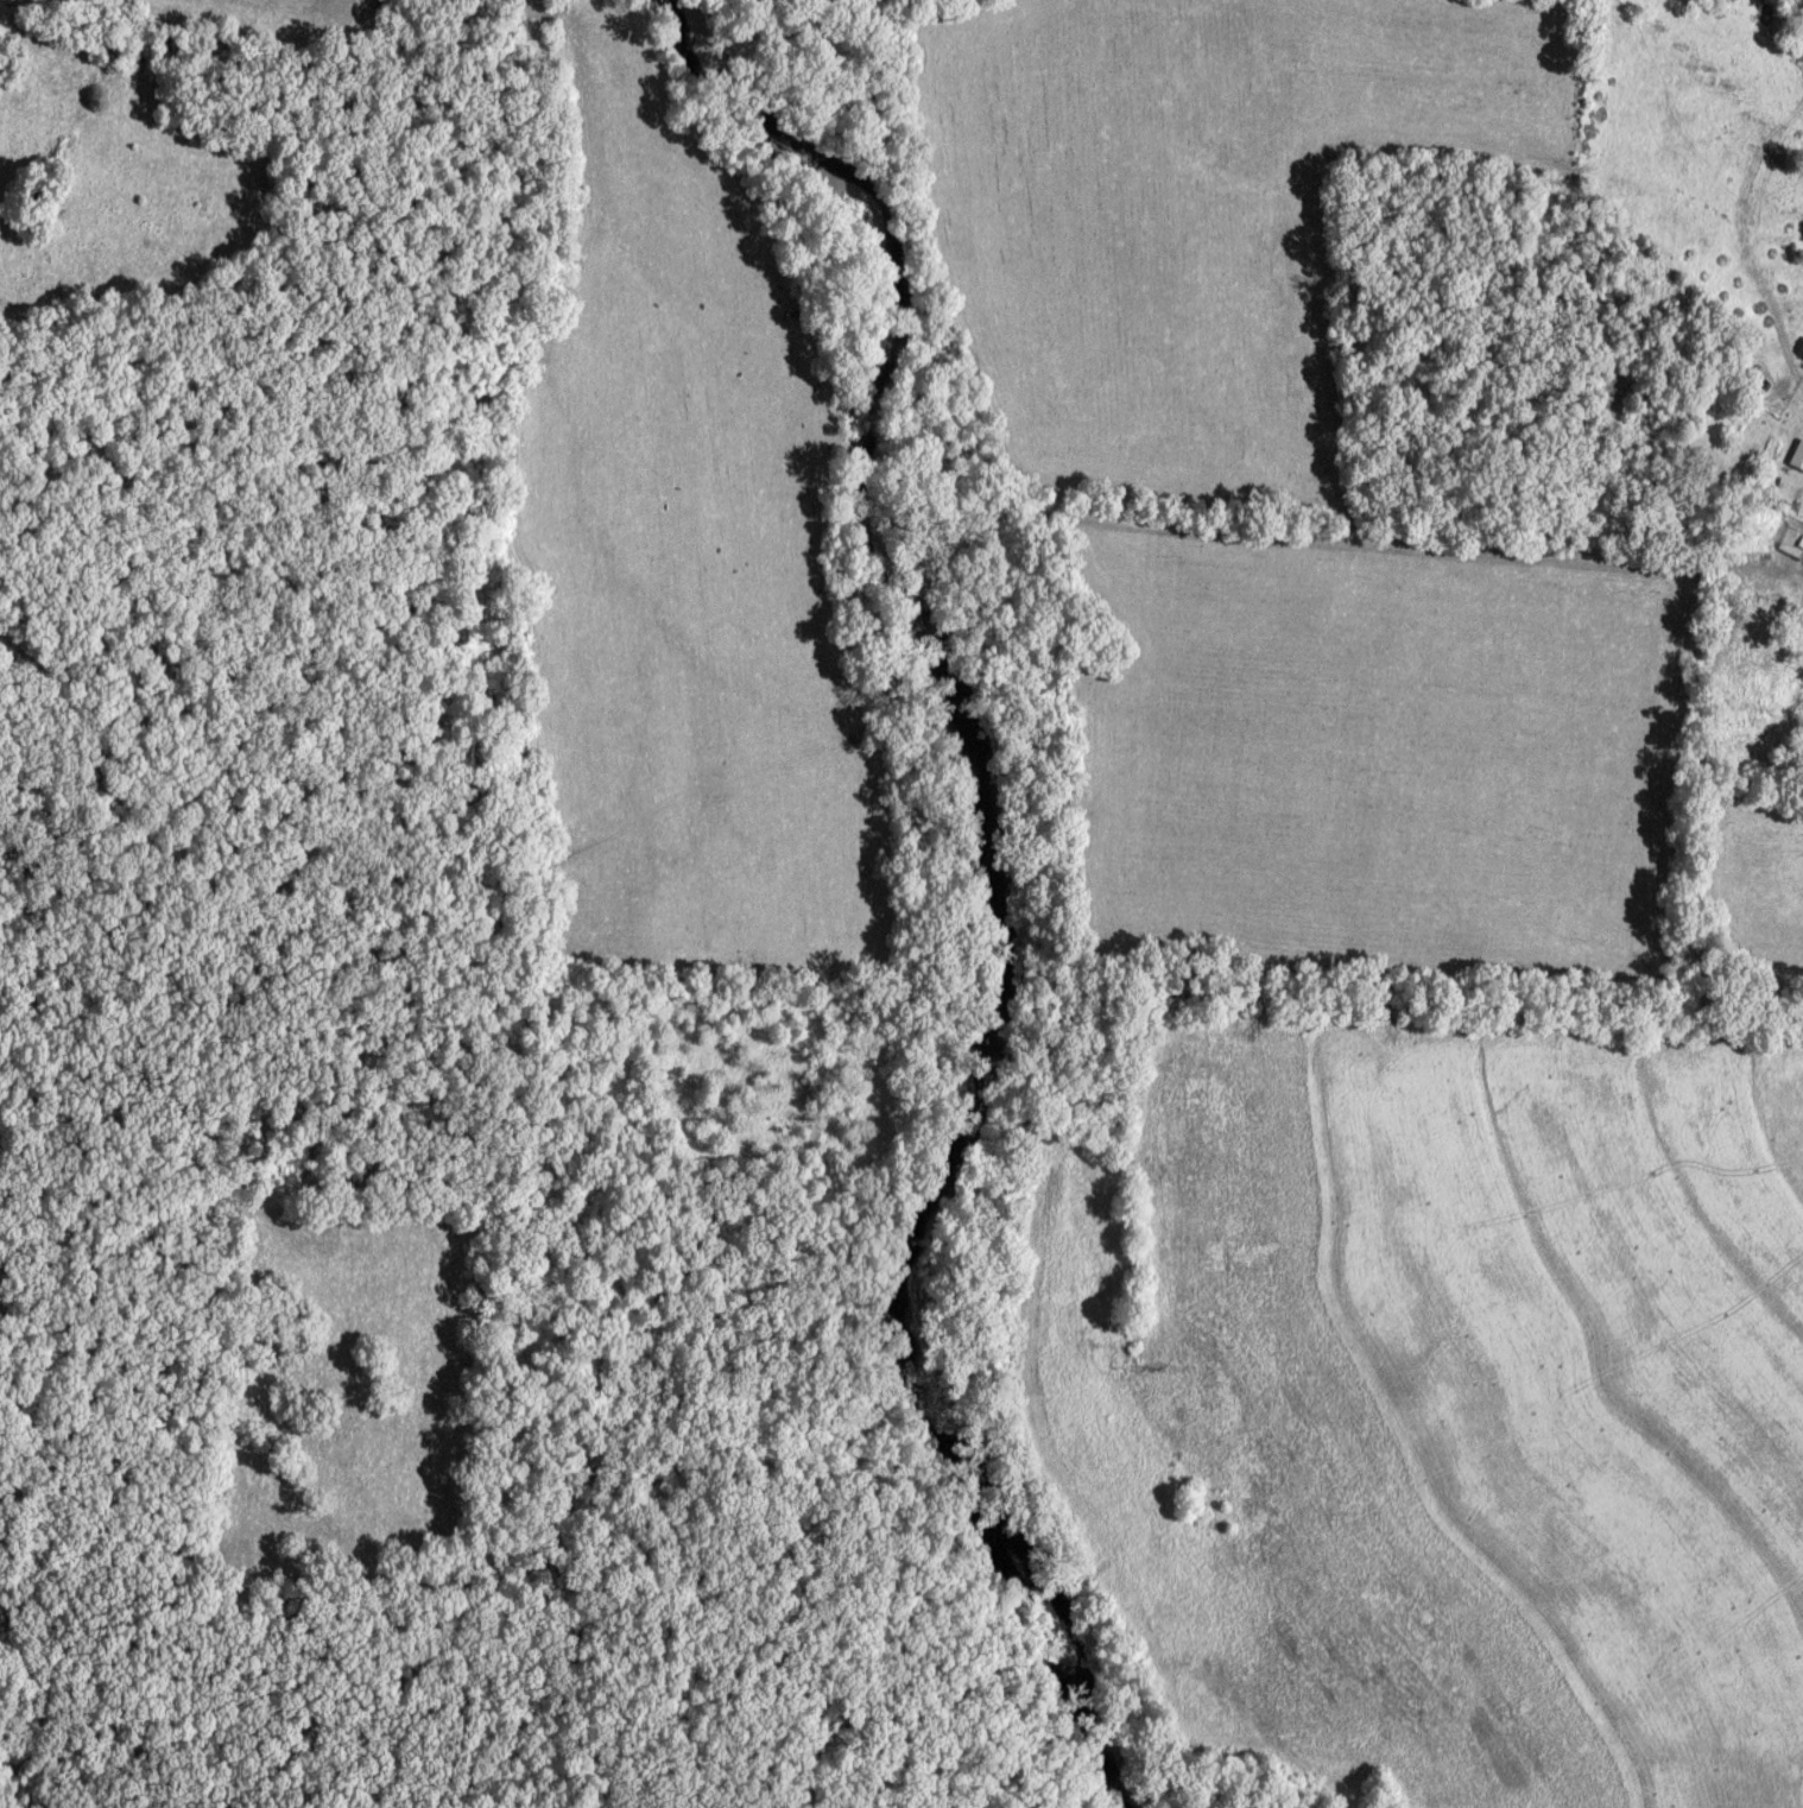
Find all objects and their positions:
building: (1796, 453)

